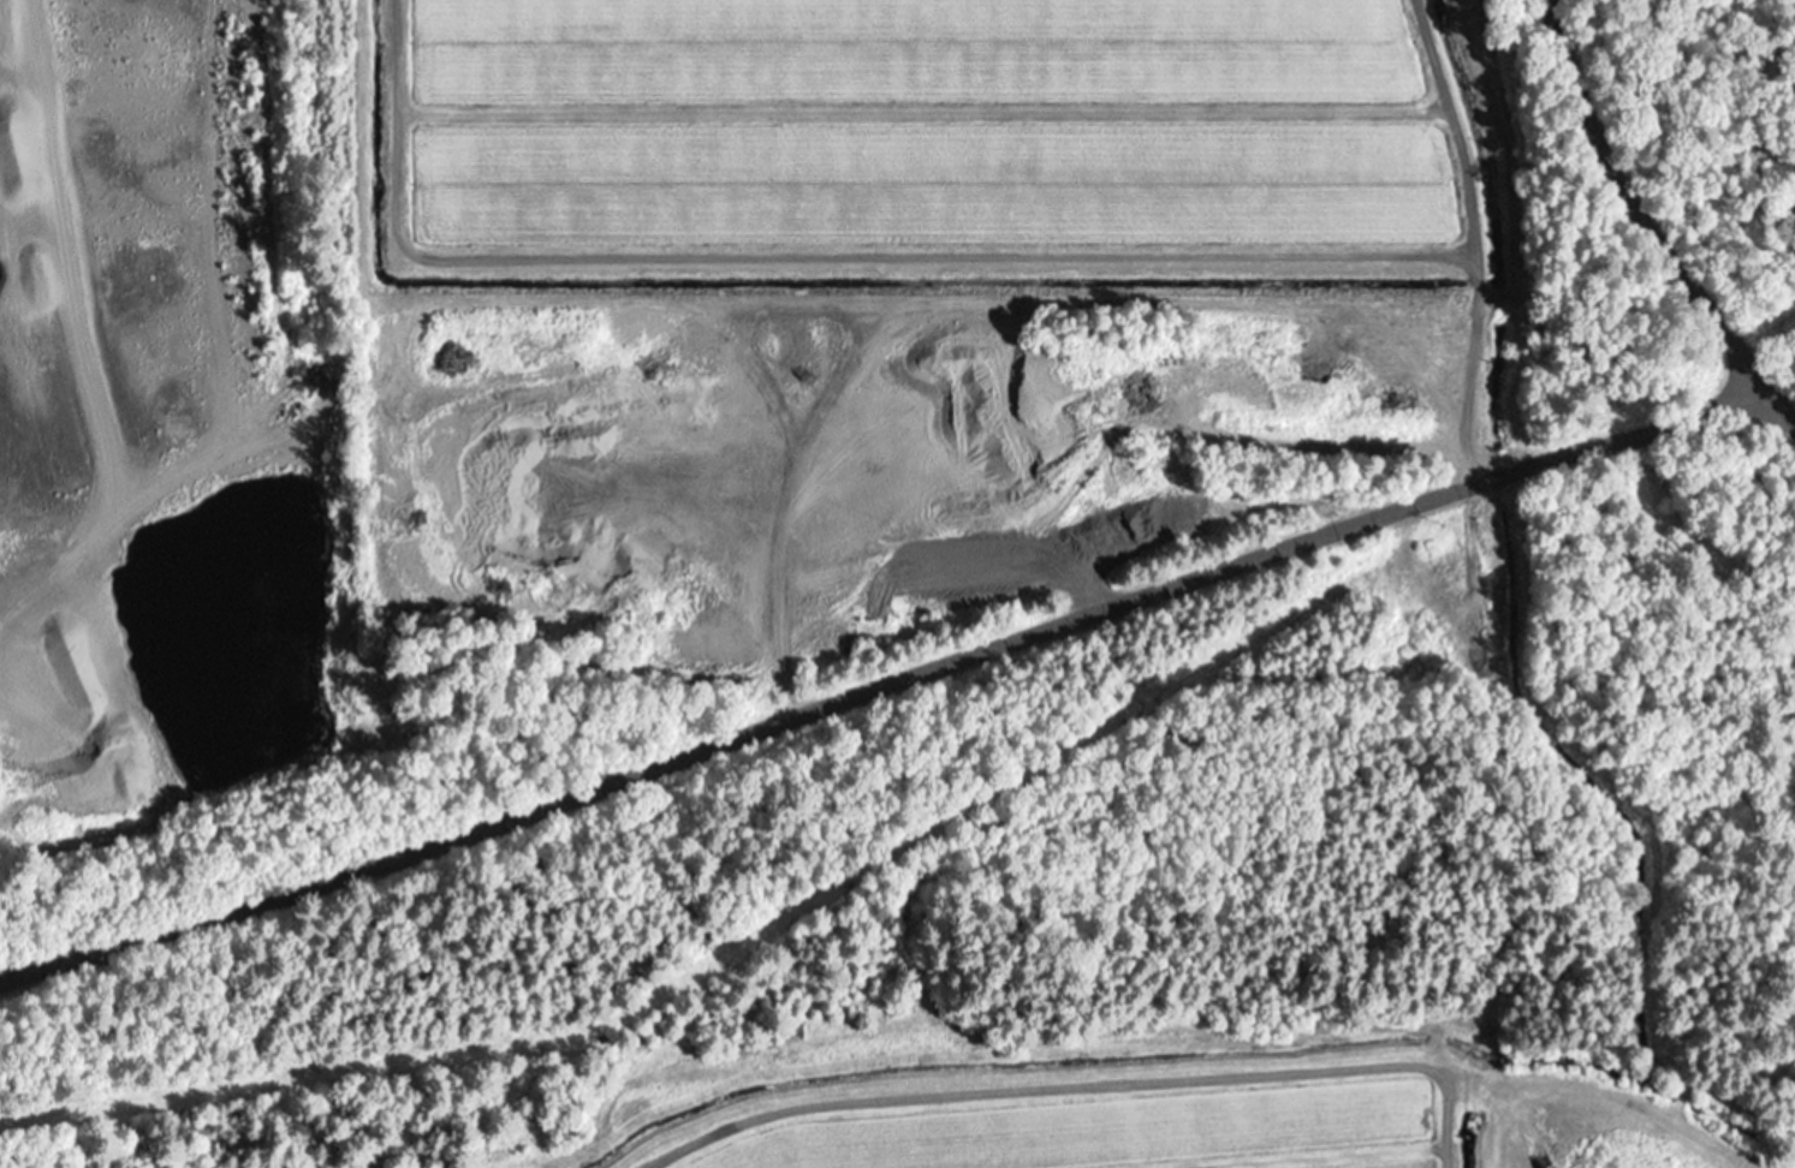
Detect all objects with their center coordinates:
crop: (932, 155)
road: (1644, 220)
road: (884, 679)
road: (1229, 1018)
road: (1583, 1113)
crop: (1066, 1121)
road: (650, 1167)

